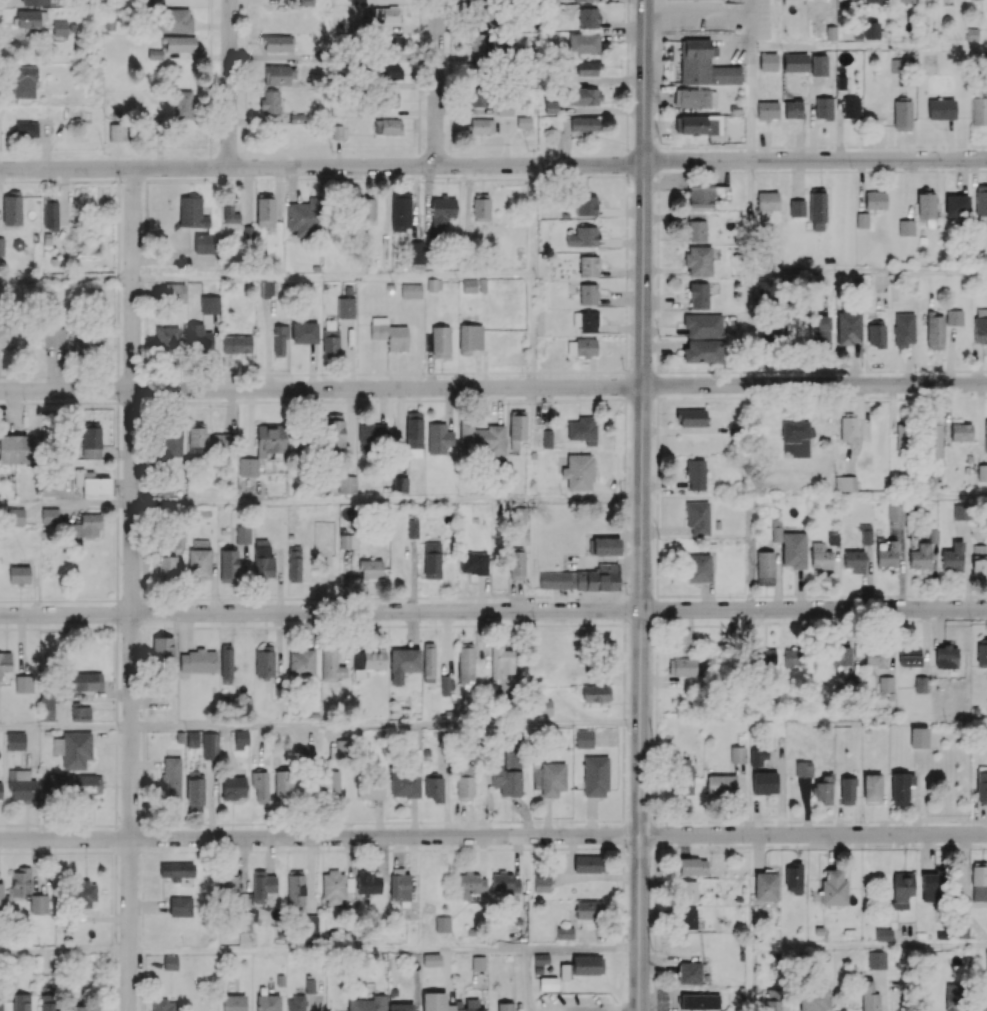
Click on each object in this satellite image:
building: (585, 0)
building: (876, 1)
building: (903, 1)
building: (35, 2)
building: (358, 2)
road: (419, 7)
road: (697, 12)
building: (385, 16)
building: (588, 17)
building: (28, 18)
building: (175, 19)
road: (450, 21)
road: (750, 22)
road: (246, 25)
road: (419, 26)
building: (60, 27)
road: (210, 30)
building: (871, 30)
building: (276, 42)
building: (392, 42)
building: (480, 42)
building: (583, 42)
building: (179, 43)
road: (868, 46)
building: (155, 54)
road: (449, 57)
building: (768, 61)
building: (794, 62)
building: (704, 64)
building: (819, 65)
road: (419, 67)
building: (588, 68)
road: (245, 69)
building: (388, 70)
road: (627, 72)
building: (276, 75)
building: (24, 81)
road: (435, 82)
road: (229, 83)
road: (449, 95)
building: (582, 96)
building: (478, 97)
building: (691, 97)
road: (210, 98)
building: (390, 98)
building: (270, 103)
road: (750, 103)
building: (183, 104)
building: (823, 107)
building: (850, 107)
building: (941, 108)
building: (792, 109)
road: (245, 110)
building: (767, 110)
building: (979, 111)
building: (902, 115)
road: (418, 123)
building: (580, 124)
building: (480, 125)
building: (695, 125)
building: (388, 126)
building: (26, 129)
building: (117, 132)
road: (450, 135)
road: (245, 140)
road: (210, 146)
road: (245, 152)
road: (418, 153)
road: (815, 159)
road: (626, 161)
road: (321, 166)
road: (550, 175)
road: (600, 175)
road: (439, 176)
road: (486, 176)
road: (508, 176)
road: (275, 177)
road: (332, 177)
road: (357, 177)
road: (380, 177)
road: (131, 178)
road: (178, 178)
road: (224, 178)
road: (58, 179)
road: (145, 190)
building: (700, 194)
building: (875, 200)
building: (981, 200)
road: (118, 201)
building: (766, 204)
building: (585, 205)
building: (957, 205)
building: (481, 207)
building: (366, 208)
building: (797, 208)
building: (12, 210)
building: (817, 210)
building: (401, 211)
building: (442, 212)
building: (50, 213)
building: (191, 213)
building: (230, 213)
building: (265, 213)
building: (305, 215)
road: (751, 215)
building: (862, 219)
road: (533, 221)
building: (696, 227)
building: (907, 227)
road: (118, 233)
road: (145, 234)
building: (582, 237)
building: (205, 243)
building: (2, 246)
building: (417, 255)
building: (698, 260)
building: (588, 266)
road: (869, 271)
road: (625, 273)
road: (333, 279)
road: (145, 280)
road: (66, 281)
building: (469, 286)
building: (765, 288)
building: (269, 289)
building: (411, 290)
building: (175, 292)
building: (588, 294)
building: (697, 296)
road: (145, 304)
building: (210, 304)
building: (346, 307)
road: (118, 310)
building: (954, 317)
building: (585, 321)
building: (703, 325)
building: (980, 325)
building: (848, 327)
road: (752, 329)
building: (773, 329)
building: (903, 329)
building: (934, 330)
road: (144, 332)
building: (304, 332)
road: (534, 332)
building: (821, 332)
building: (389, 334)
building: (7, 335)
building: (876, 335)
building: (54, 337)
building: (470, 337)
building: (166, 339)
building: (199, 339)
building: (279, 341)
building: (440, 341)
building: (92, 342)
building: (331, 343)
building: (237, 344)
building: (582, 347)
building: (700, 350)
road: (144, 363)
road: (485, 372)
road: (336, 373)
road: (182, 374)
road: (225, 374)
road: (247, 374)
road: (278, 374)
road: (300, 374)
road: (318, 374)
road: (18, 375)
road: (47, 375)
road: (84, 375)
road: (113, 375)
road: (2, 376)
road: (627, 384)
road: (869, 386)
road: (376, 387)
road: (117, 388)
road: (554, 398)
road: (467, 399)
road: (383, 400)
road: (234, 401)
road: (302, 401)
road: (18, 402)
road: (57, 402)
road: (97, 402)
road: (163, 402)
building: (691, 417)
building: (848, 427)
building: (517, 428)
building: (335, 430)
building: (579, 430)
building: (961, 432)
building: (414, 434)
building: (372, 435)
building: (900, 435)
building: (795, 437)
building: (985, 437)
building: (439, 438)
building: (481, 438)
building: (547, 438)
building: (933, 438)
building: (91, 440)
building: (197, 441)
building: (222, 441)
building: (271, 441)
building: (170, 446)
building: (16, 449)
road: (624, 449)
building: (578, 471)
building: (982, 473)
building: (695, 474)
road: (144, 479)
building: (277, 482)
building: (92, 483)
building: (845, 483)
building: (400, 484)
building: (347, 485)
road: (948, 497)
road: (116, 499)
road: (386, 500)
road: (65, 503)
road: (642, 505)
building: (961, 511)
building: (896, 512)
road: (624, 513)
building: (15, 516)
building: (49, 516)
building: (697, 518)
building: (87, 526)
building: (412, 528)
building: (776, 530)
building: (866, 533)
building: (243, 534)
building: (349, 541)
building: (606, 546)
building: (794, 549)
building: (923, 551)
building: (887, 553)
building: (820, 556)
building: (953, 556)
building: (263, 558)
building: (432, 560)
building: (854, 560)
road: (623, 561)
building: (979, 561)
building: (472, 562)
building: (199, 563)
building: (294, 563)
building: (517, 564)
building: (228, 566)
road: (143, 567)
building: (698, 567)
building: (765, 567)
building: (167, 568)
building: (371, 569)
building: (19, 574)
building: (581, 578)
road: (143, 588)
road: (131, 589)
road: (715, 595)
road: (790, 595)
road: (817, 595)
road: (831, 595)
road: (877, 595)
road: (925, 595)
road: (952, 595)
road: (979, 595)
road: (507, 596)
road: (347, 597)
road: (370, 597)
road: (383, 597)
road: (169, 598)
road: (212, 598)
road: (248, 598)
road: (296, 598)
road: (58, 600)
road: (626, 609)
road: (814, 609)
road: (321, 612)
road: (117, 613)
road: (964, 617)
road: (921, 619)
road: (869, 620)
road: (835, 621)
road: (781, 622)
road: (820, 622)
road: (506, 624)
road: (576, 624)
road: (427, 625)
road: (213, 626)
road: (291, 626)
road: (305, 626)
road: (341, 626)
road: (101, 627)
road: (32, 628)
road: (75, 628)
road: (656, 635)
road: (143, 639)
building: (683, 639)
building: (162, 651)
building: (982, 652)
building: (841, 655)
building: (794, 656)
building: (946, 656)
building: (765, 657)
building: (876, 657)
building: (910, 657)
building: (404, 660)
building: (197, 661)
building: (367, 661)
building: (466, 661)
building: (5, 662)
building: (264, 662)
building: (301, 662)
building: (429, 662)
building: (501, 662)
building: (226, 664)
building: (331, 665)
building: (682, 666)
road: (143, 674)
building: (85, 681)
building: (24, 683)
building: (886, 684)
building: (921, 684)
building: (596, 693)
road: (656, 696)
building: (47, 707)
building: (544, 707)
road: (143, 712)
building: (80, 713)
road: (623, 721)
road: (115, 726)
road: (385, 726)
road: (64, 728)
building: (918, 737)
building: (584, 738)
building: (241, 739)
building: (15, 740)
building: (210, 745)
building: (341, 748)
building: (73, 749)
building: (738, 754)
building: (758, 757)
building: (804, 769)
road: (143, 775)
building: (509, 776)
building: (595, 776)
building: (683, 776)
building: (171, 778)
building: (553, 779)
road: (655, 780)
building: (465, 781)
building: (764, 782)
building: (331, 783)
building: (405, 783)
building: (71, 784)
building: (721, 784)
building: (981, 784)
building: (21, 785)
building: (283, 785)
building: (260, 786)
building: (233, 787)
building: (872, 787)
building: (901, 787)
building: (434, 788)
building: (0, 790)
building: (194, 790)
building: (823, 790)
building: (847, 790)
road: (559, 820)
road: (409, 821)
road: (489, 821)
road: (697, 821)
road: (727, 821)
road: (861, 821)
road: (661, 822)
road: (671, 822)
road: (160, 823)
road: (233, 823)
road: (301, 823)
road: (20, 824)
road: (64, 824)
road: (181, 824)
road: (193, 824)
road: (104, 825)
road: (624, 833)
road: (655, 833)
road: (813, 833)
road: (320, 837)
road: (115, 839)
road: (821, 845)
road: (461, 848)
road: (543, 848)
road: (586, 848)
road: (368, 849)
road: (127, 850)
road: (215, 850)
road: (247, 850)
road: (275, 850)
road: (317, 850)
road: (170, 851)
road: (57, 853)
building: (588, 863)
road: (655, 866)
building: (693, 866)
building: (178, 872)
road: (622, 878)
building: (793, 878)
building: (542, 880)
building: (979, 881)
building: (20, 882)
building: (504, 882)
building: (368, 883)
building: (399, 884)
building: (228, 885)
building: (471, 885)
building: (766, 885)
building: (932, 886)
building: (333, 887)
building: (834, 887)
building: (264, 888)
building: (296, 889)
building: (901, 889)
road: (655, 891)
building: (687, 891)
building: (1, 895)
building: (84, 895)
building: (39, 903)
road: (655, 905)
building: (180, 906)
building: (589, 910)
road: (142, 914)
building: (687, 918)
road: (114, 920)
road: (655, 922)
road: (622, 923)
building: (443, 924)
building: (310, 925)
building: (959, 930)
building: (565, 933)
building: (883, 934)
road: (836, 945)
road: (655, 947)
road: (384, 948)
road: (64, 950)
building: (541, 958)
building: (431, 959)
building: (876, 959)
building: (986, 959)
building: (170, 962)
building: (478, 963)
building: (587, 964)
building: (564, 971)
building: (689, 973)
road: (622, 974)
road: (655, 974)
road: (529, 979)
road: (142, 988)
road: (114, 994)
building: (869, 996)
building: (954, 997)
road: (655, 998)
building: (775, 1000)
building: (814, 1000)
building: (699, 1001)
building: (21, 1002)
building: (48, 1002)
building: (234, 1002)
building: (268, 1002)
building: (436, 1002)
building: (296, 1003)
building: (1, 1004)
building: (368, 1004)
road: (141, 1005)
building: (163, 1005)
building: (467, 1005)
road: (114, 1006)
building: (505, 1006)
building: (401, 1007)
building: (85, 1008)
road: (591, 1010)

